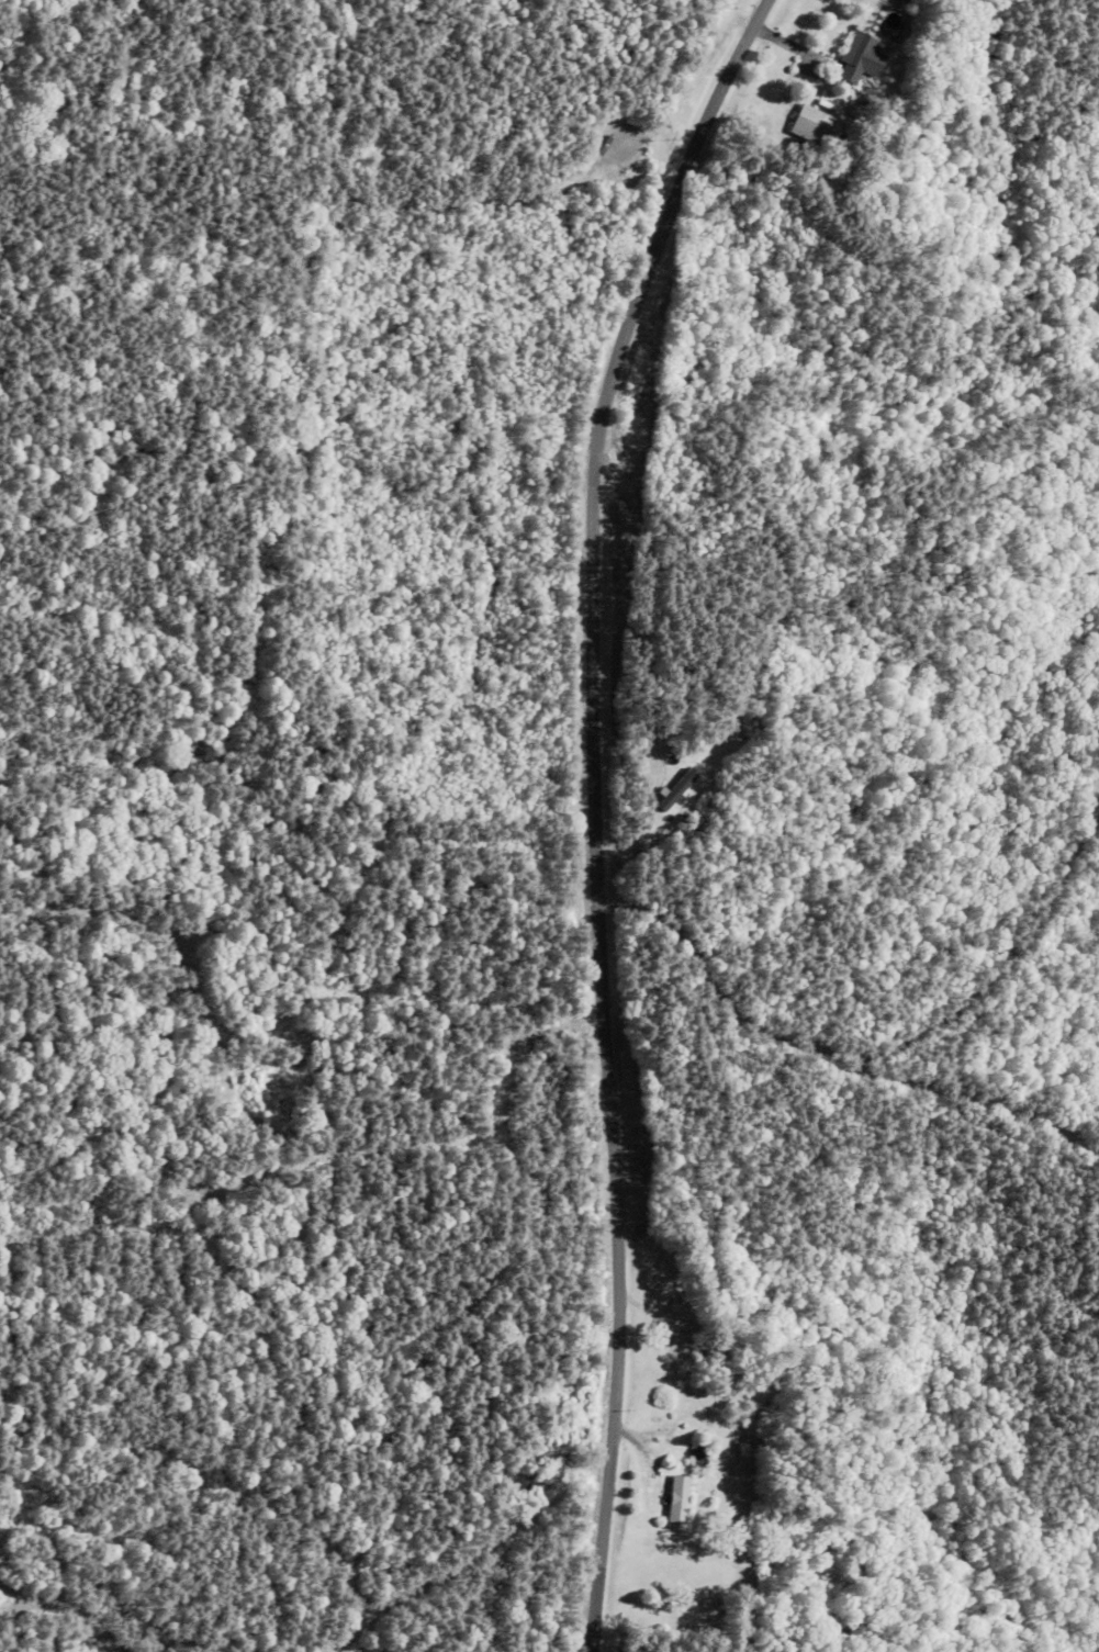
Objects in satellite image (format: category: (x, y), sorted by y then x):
building: (852, 58)
building: (809, 125)
road: (721, 805)
road: (591, 807)
road: (669, 890)
building: (699, 1454)

